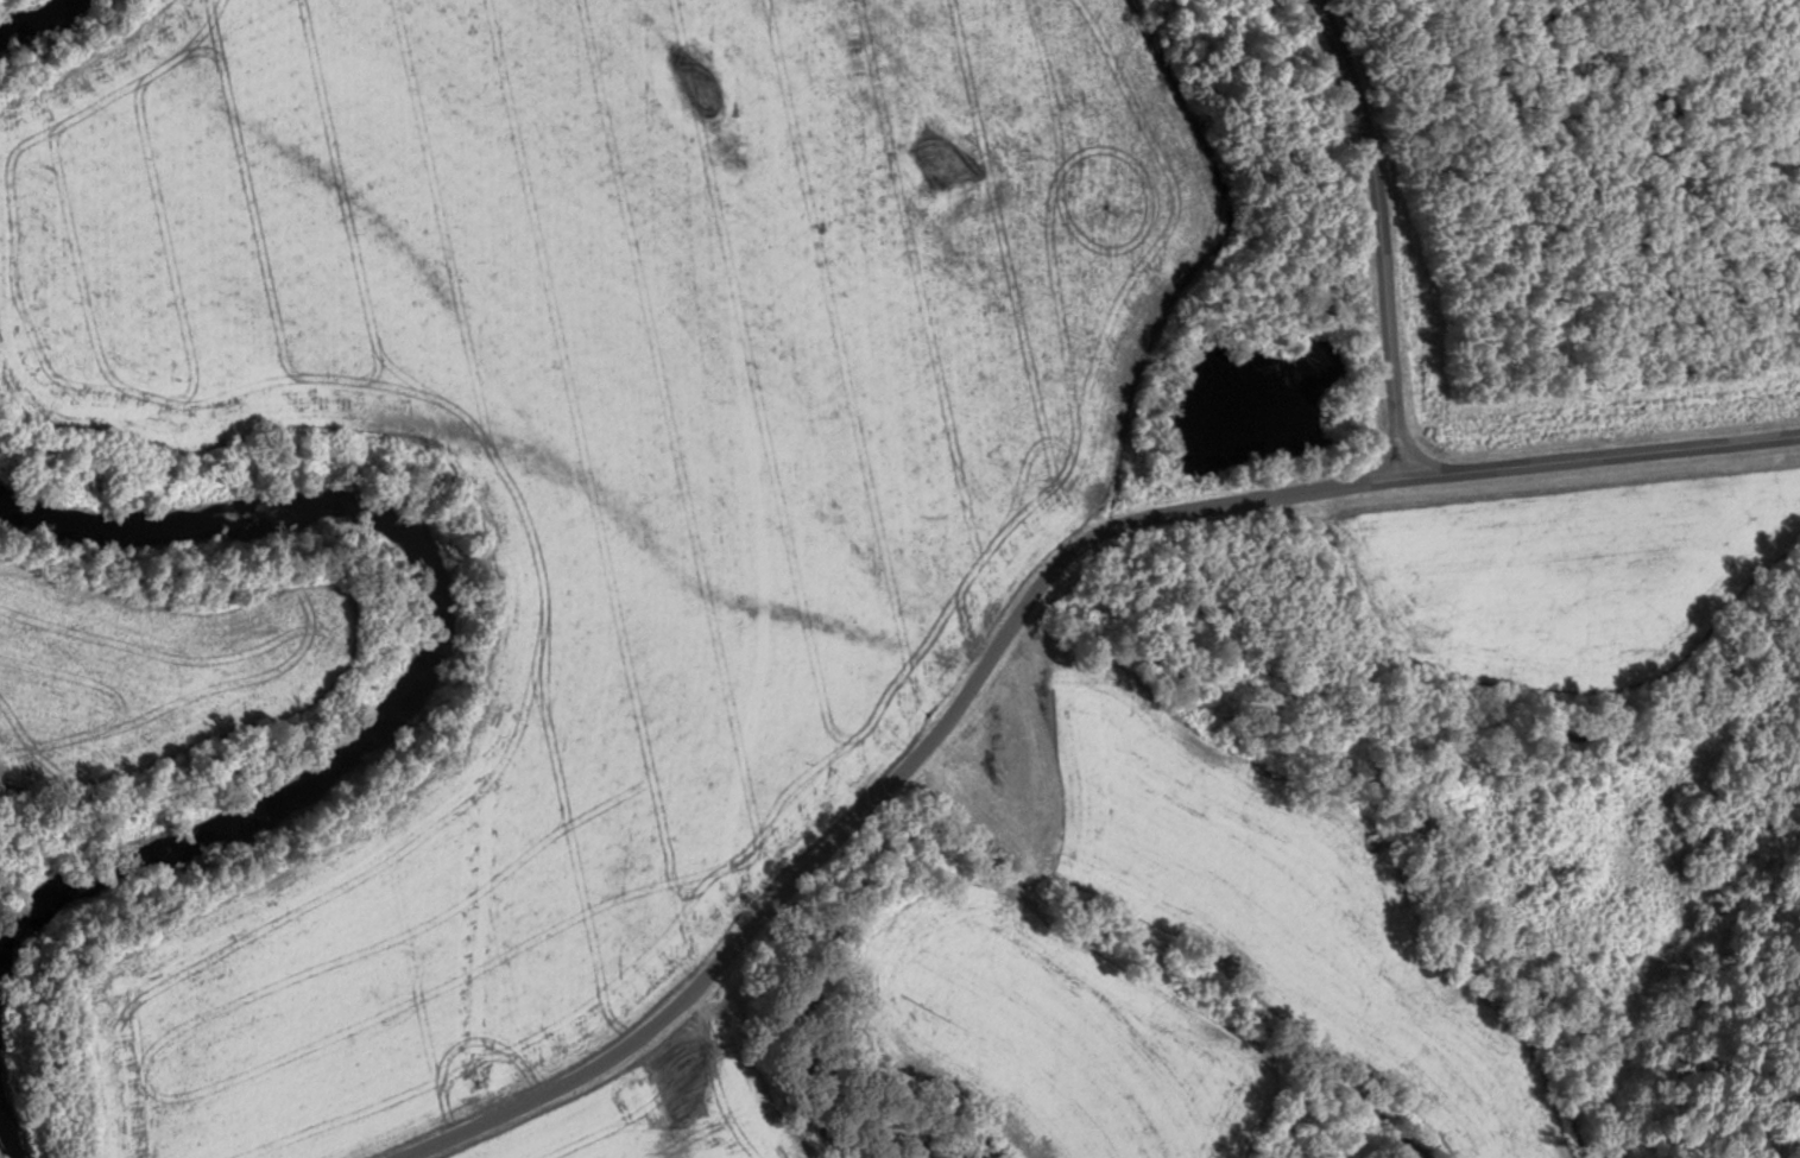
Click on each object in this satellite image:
road: (1381, 232)
road: (1600, 455)
road: (891, 774)

